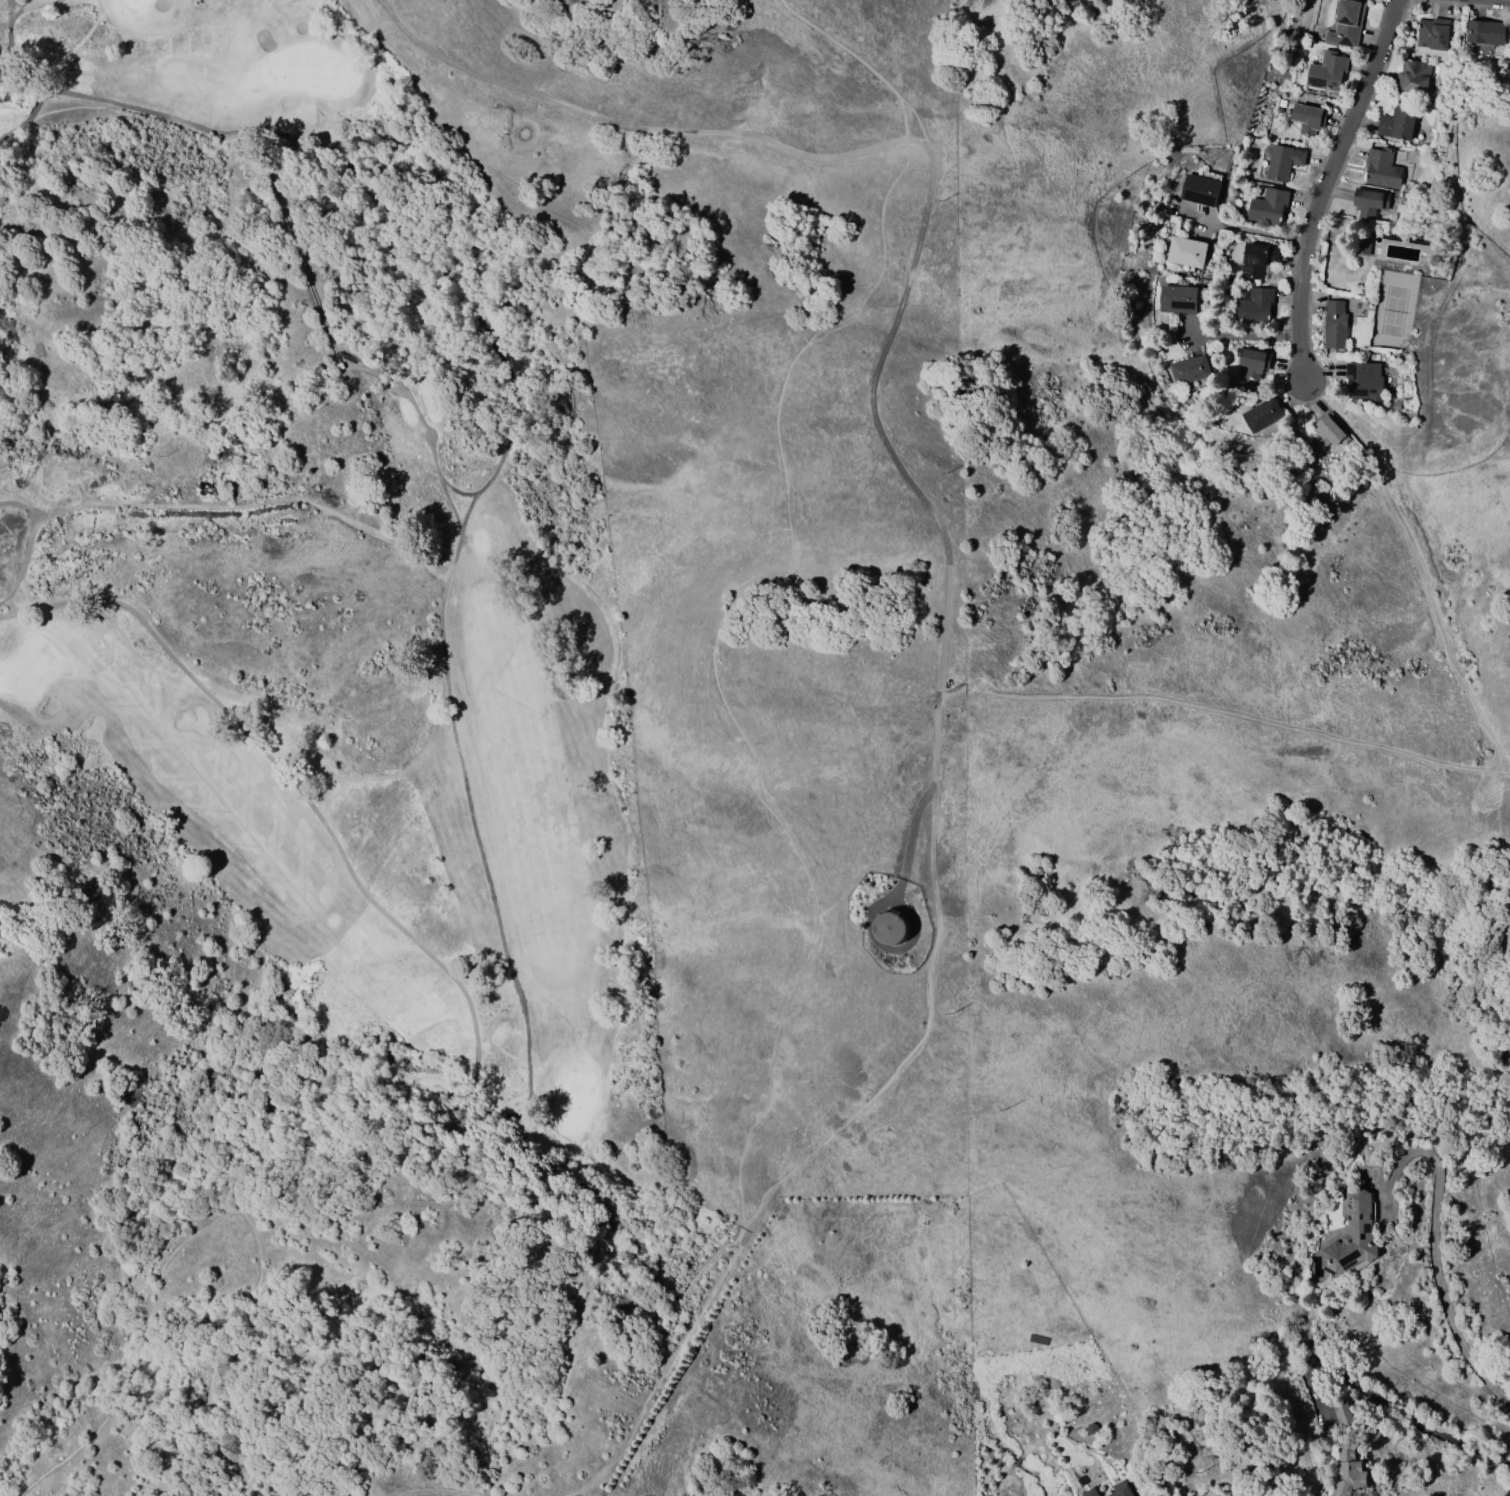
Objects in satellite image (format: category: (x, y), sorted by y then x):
park: (362, 16)
building: (1349, 24)
building: (1489, 33)
building: (1435, 35)
road: (861, 61)
building: (1330, 72)
building: (1416, 76)
building: (1313, 121)
building: (1400, 122)
road: (623, 125)
road: (911, 142)
building: (1286, 161)
building: (1384, 169)
road: (1322, 183)
building: (1205, 190)
building: (1373, 203)
building: (1271, 207)
road: (1263, 232)
building: (1362, 246)
building: (1191, 251)
building: (1260, 259)
building: (1183, 299)
building: (1256, 305)
park: (1393, 312)
building: (1338, 325)
road: (1251, 337)
building: (1257, 364)
building: (1194, 371)
building: (1366, 381)
building: (1265, 416)
building: (1332, 434)
road: (888, 454)
park: (326, 551)
road: (1416, 568)
road: (714, 665)
road: (1225, 708)
road: (913, 833)
building: (890, 926)
road: (916, 1031)
road: (206, 1221)
building: (1351, 1235)
road: (1432, 1257)
road: (489, 1338)
road: (663, 1371)
building: (1342, 1412)
building: (1346, 1469)
building: (1119, 1489)
building: (1090, 1492)
road: (422, 1495)

